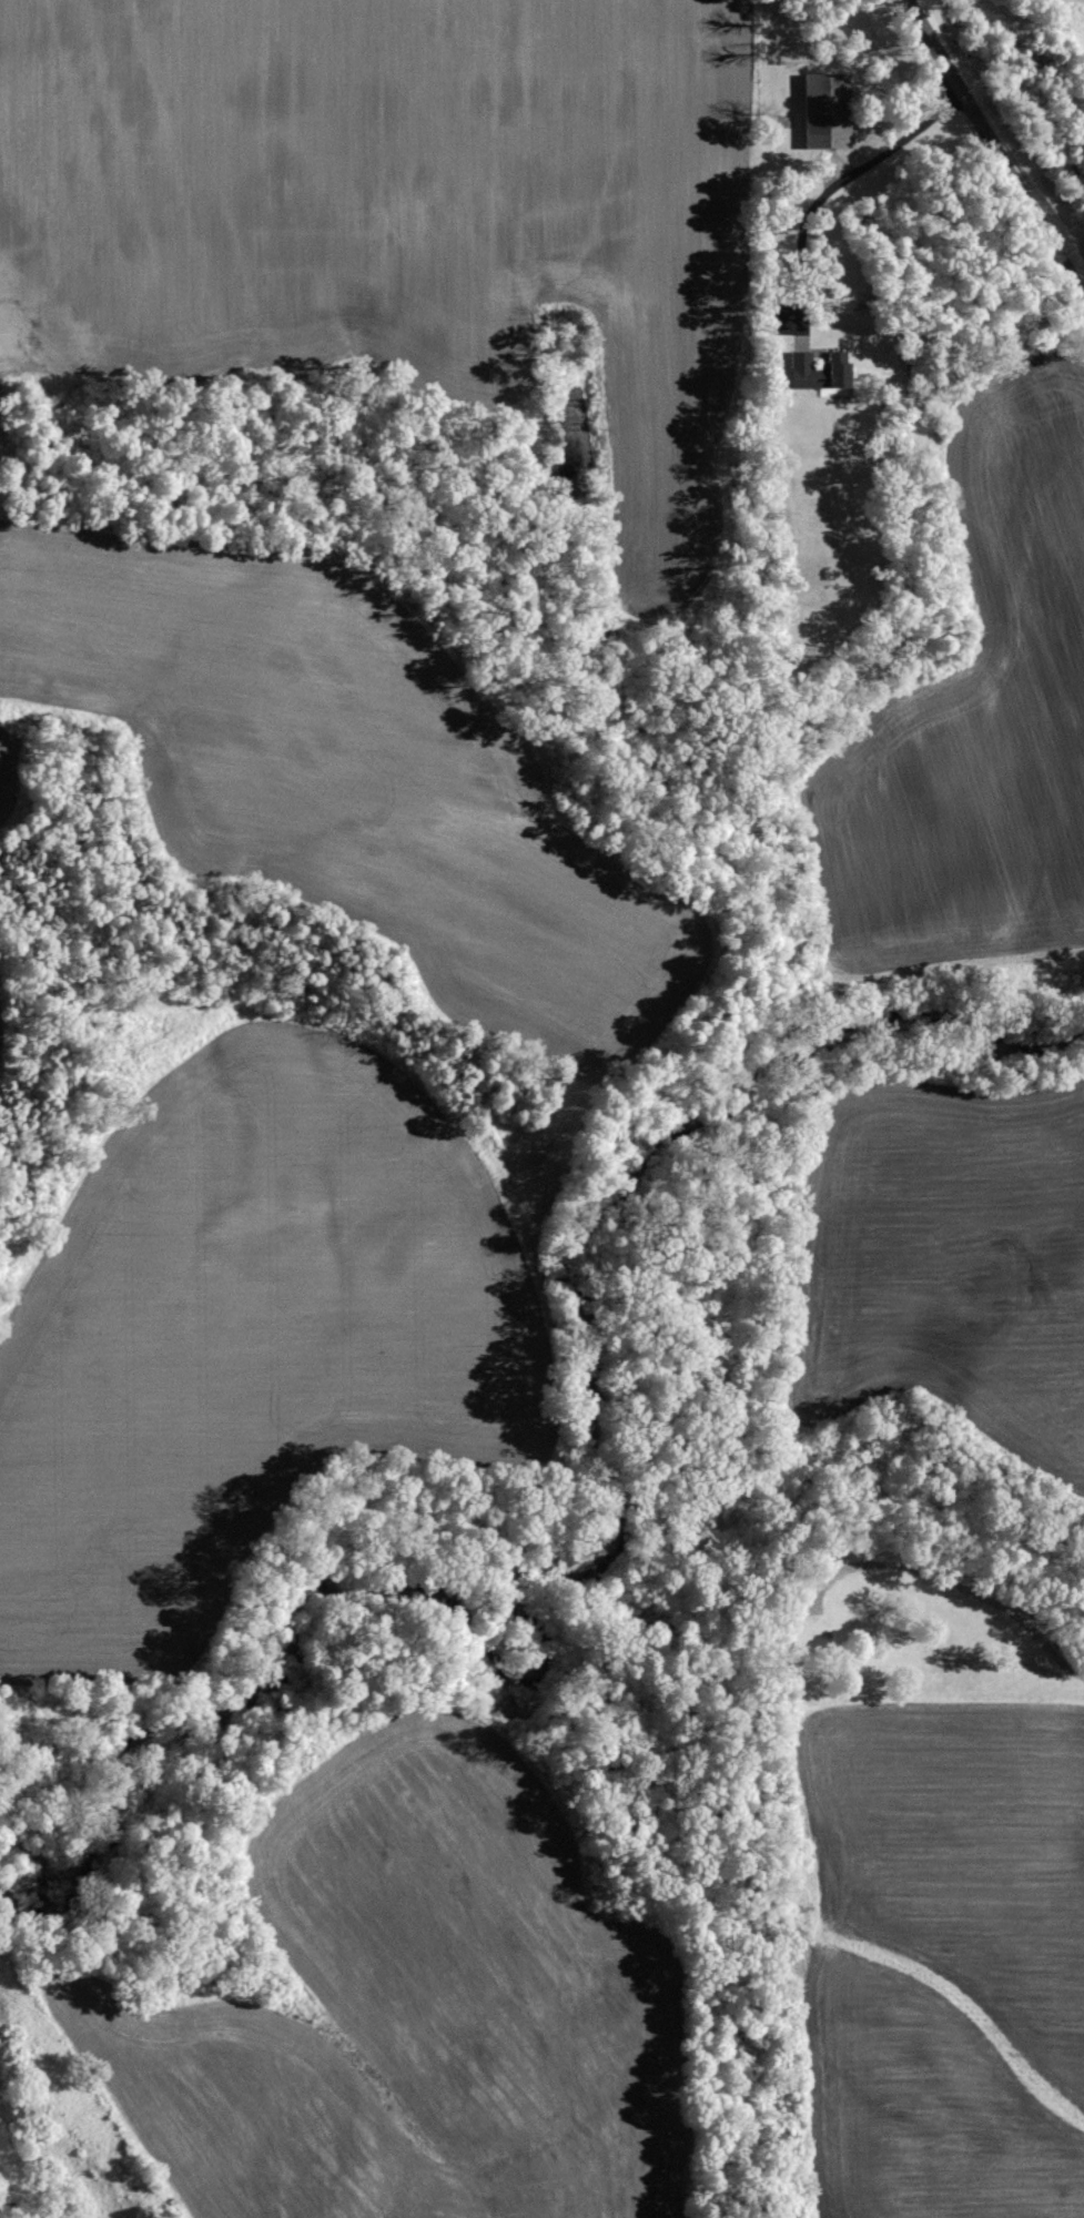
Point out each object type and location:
building: (820, 110)
road: (996, 153)
road: (840, 186)
building: (814, 371)

